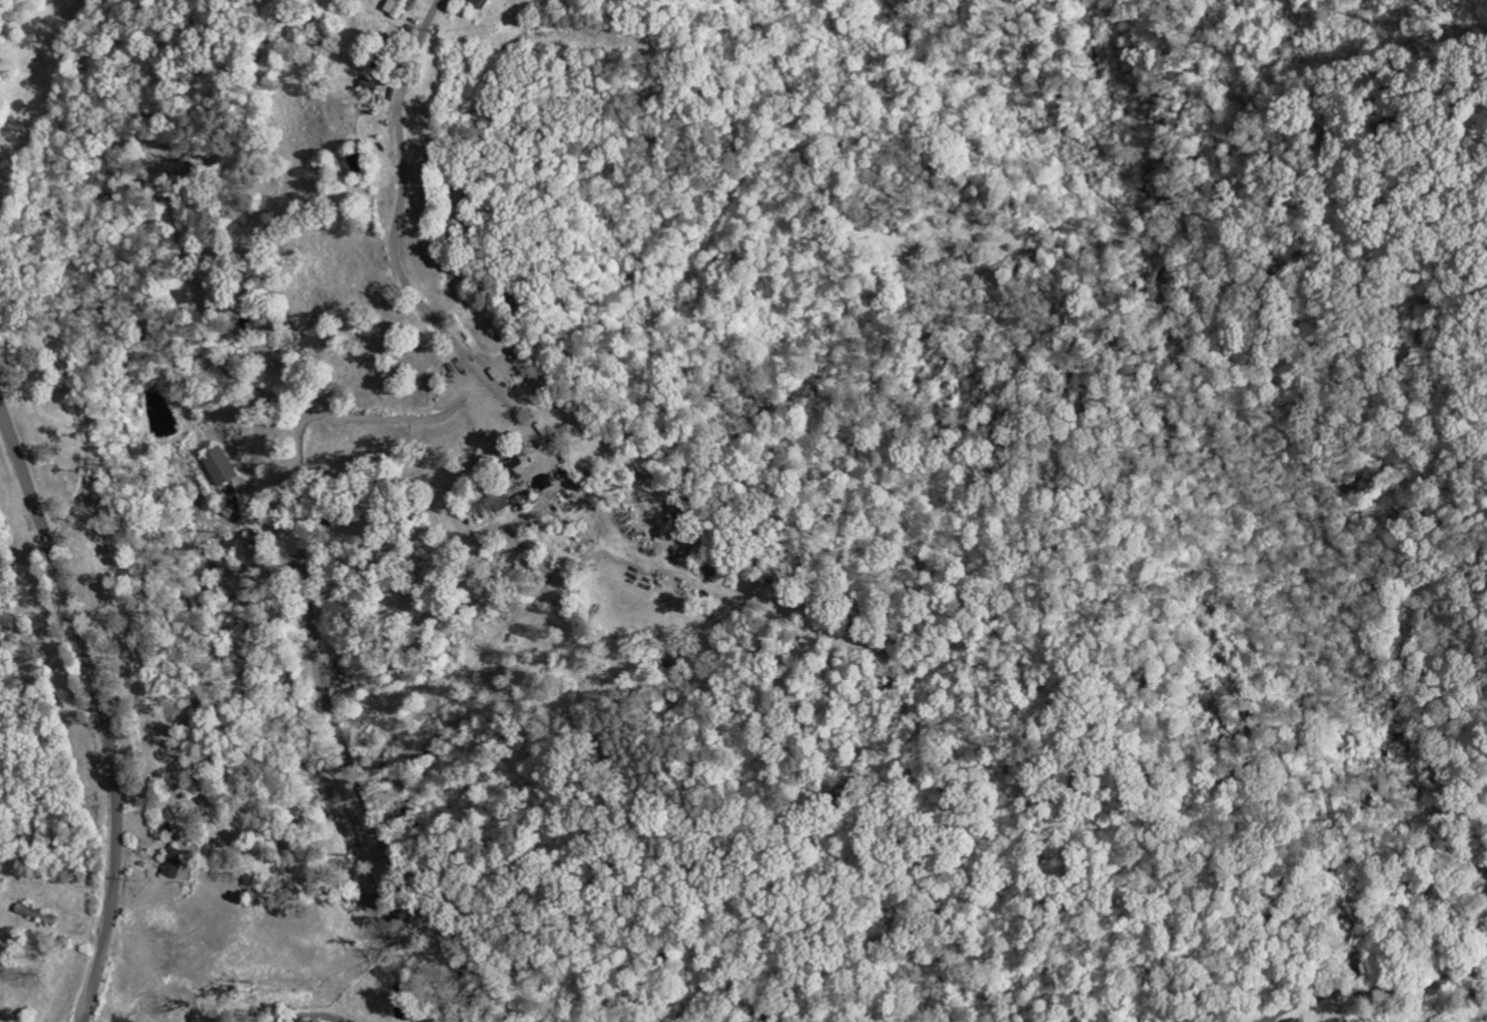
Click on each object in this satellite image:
building: (478, 2)
building: (397, 8)
road: (402, 182)
building: (513, 464)
building: (220, 466)
road: (101, 707)
building: (176, 863)
road: (1375, 989)
road: (314, 1016)
building: (1298, 1021)

